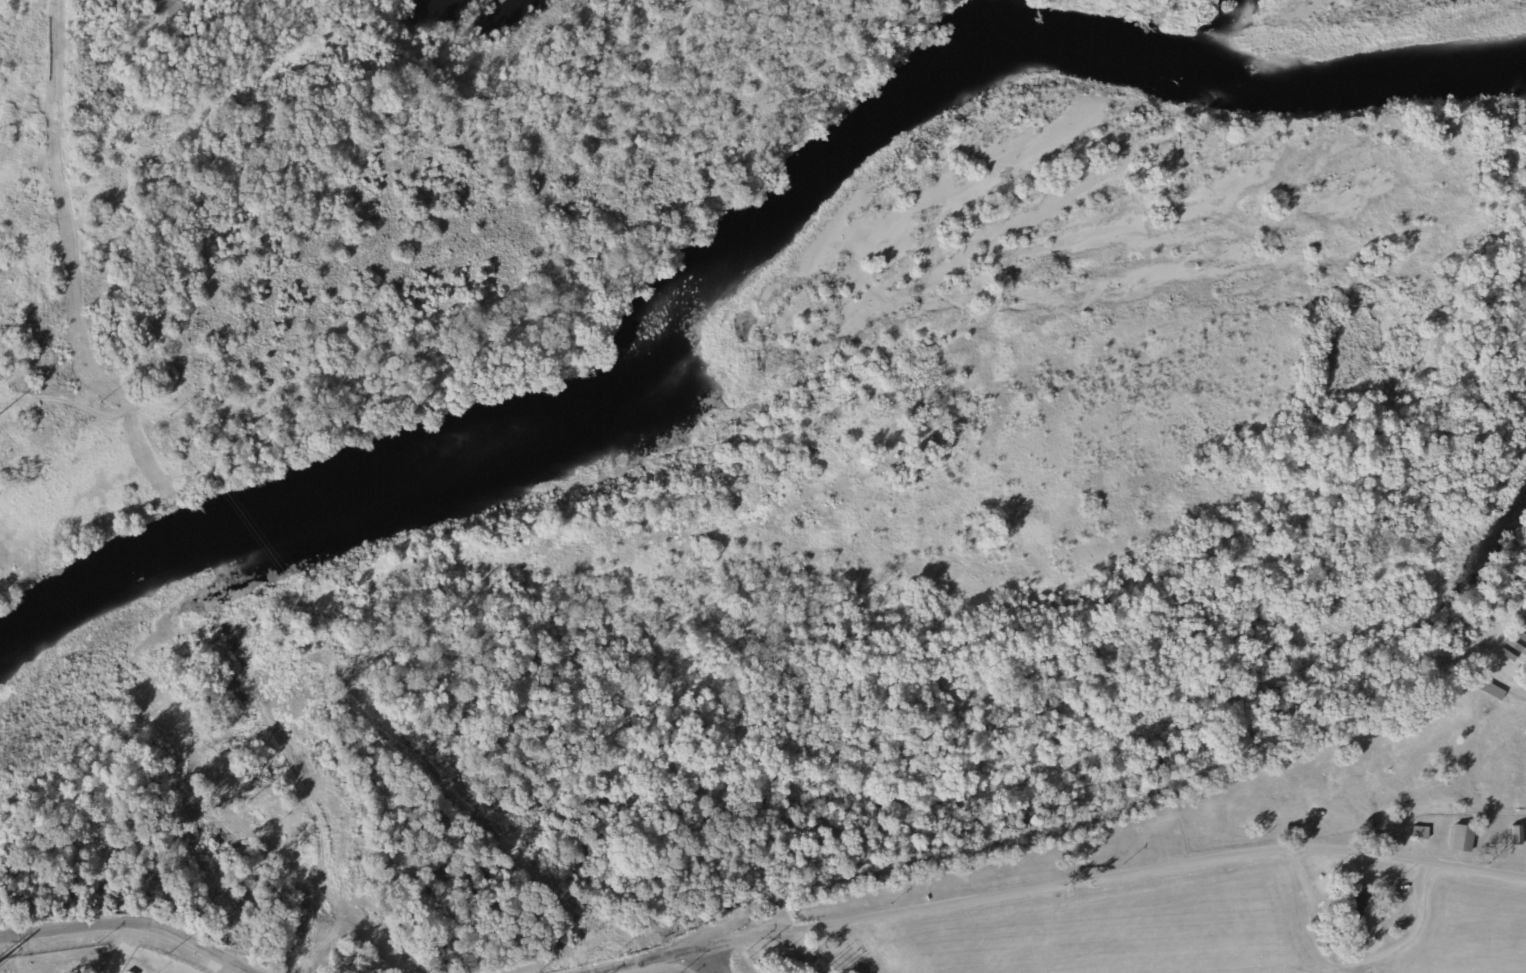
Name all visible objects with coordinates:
river: (914, 113)
river: (201, 552)
building: (1525, 615)
building: (1522, 624)
building: (1519, 636)
building: (1515, 649)
building: (1508, 656)
building: (1486, 688)
road: (1183, 784)
building: (1424, 833)
building: (1518, 837)
building: (1463, 839)
road: (1189, 861)
building: (1358, 904)
road: (129, 926)
crop: (1190, 929)
road: (705, 951)
road: (810, 952)
road: (1363, 958)
power plant: (98, 959)
wastewater plant: (803, 961)
road: (708, 963)
building: (129, 972)

